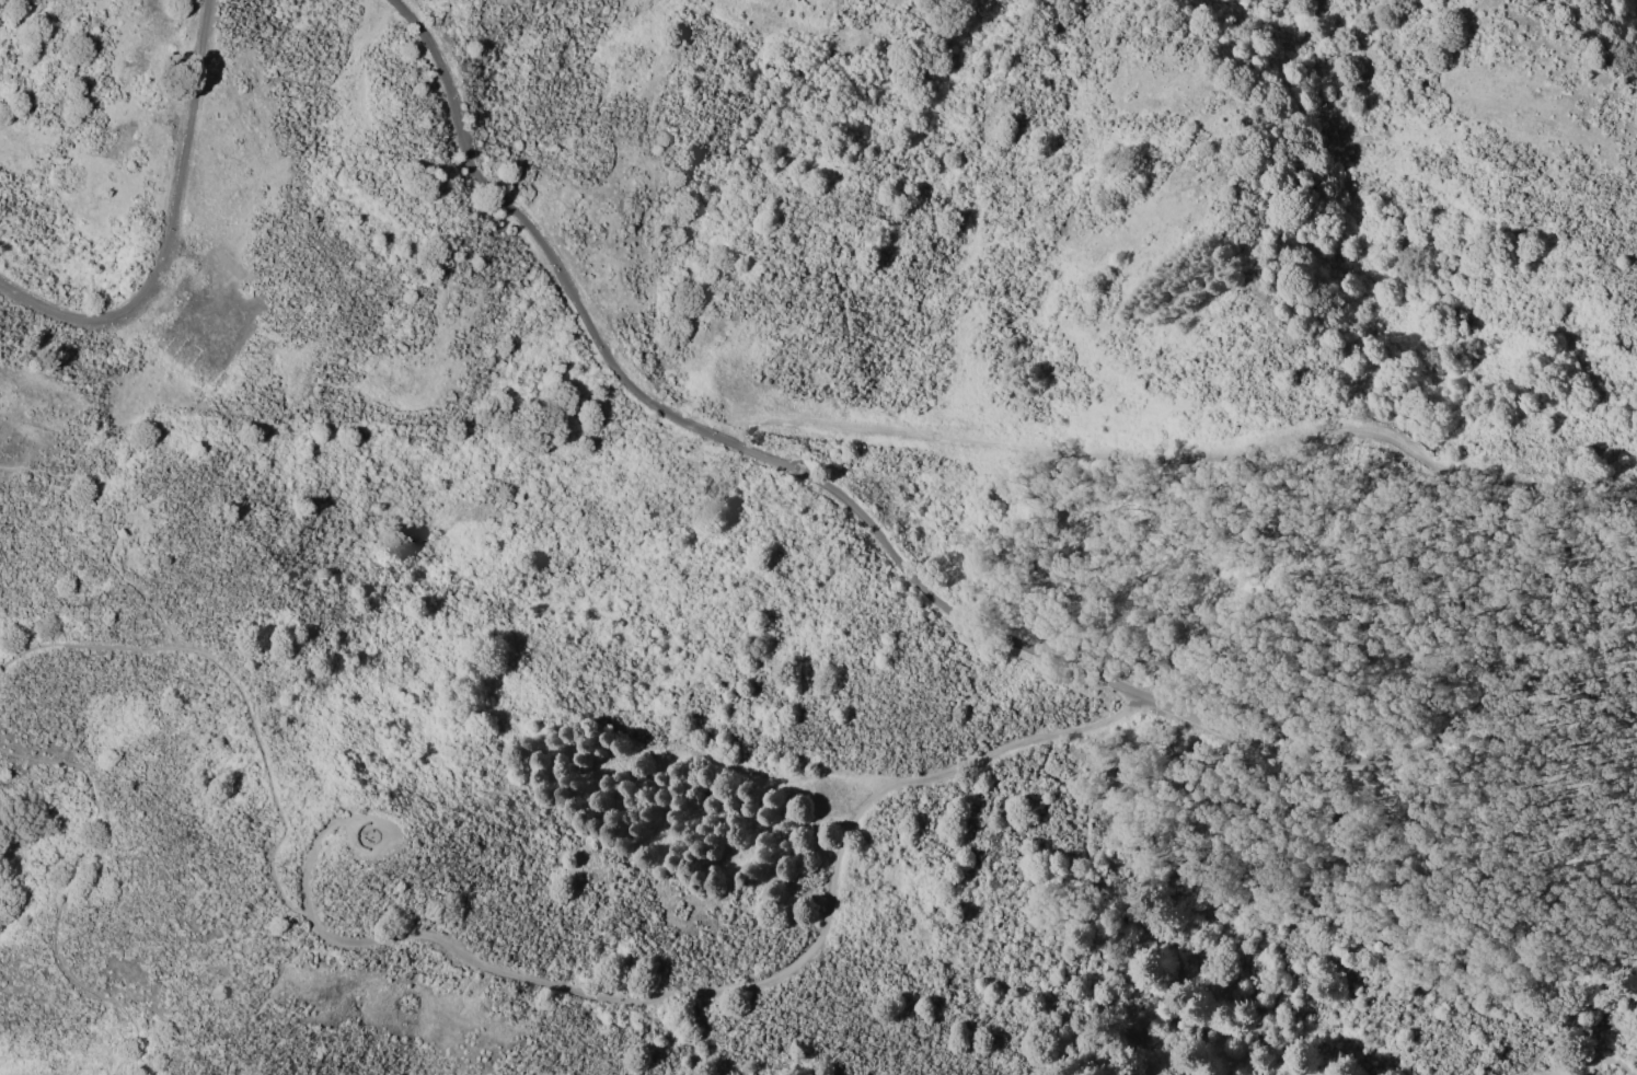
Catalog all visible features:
road: (165, 227)
road: (114, 524)
road: (912, 576)
road: (720, 765)
road: (347, 824)
road: (70, 894)
road: (1283, 926)
road: (528, 979)
road: (270, 997)
road: (1599, 1060)

